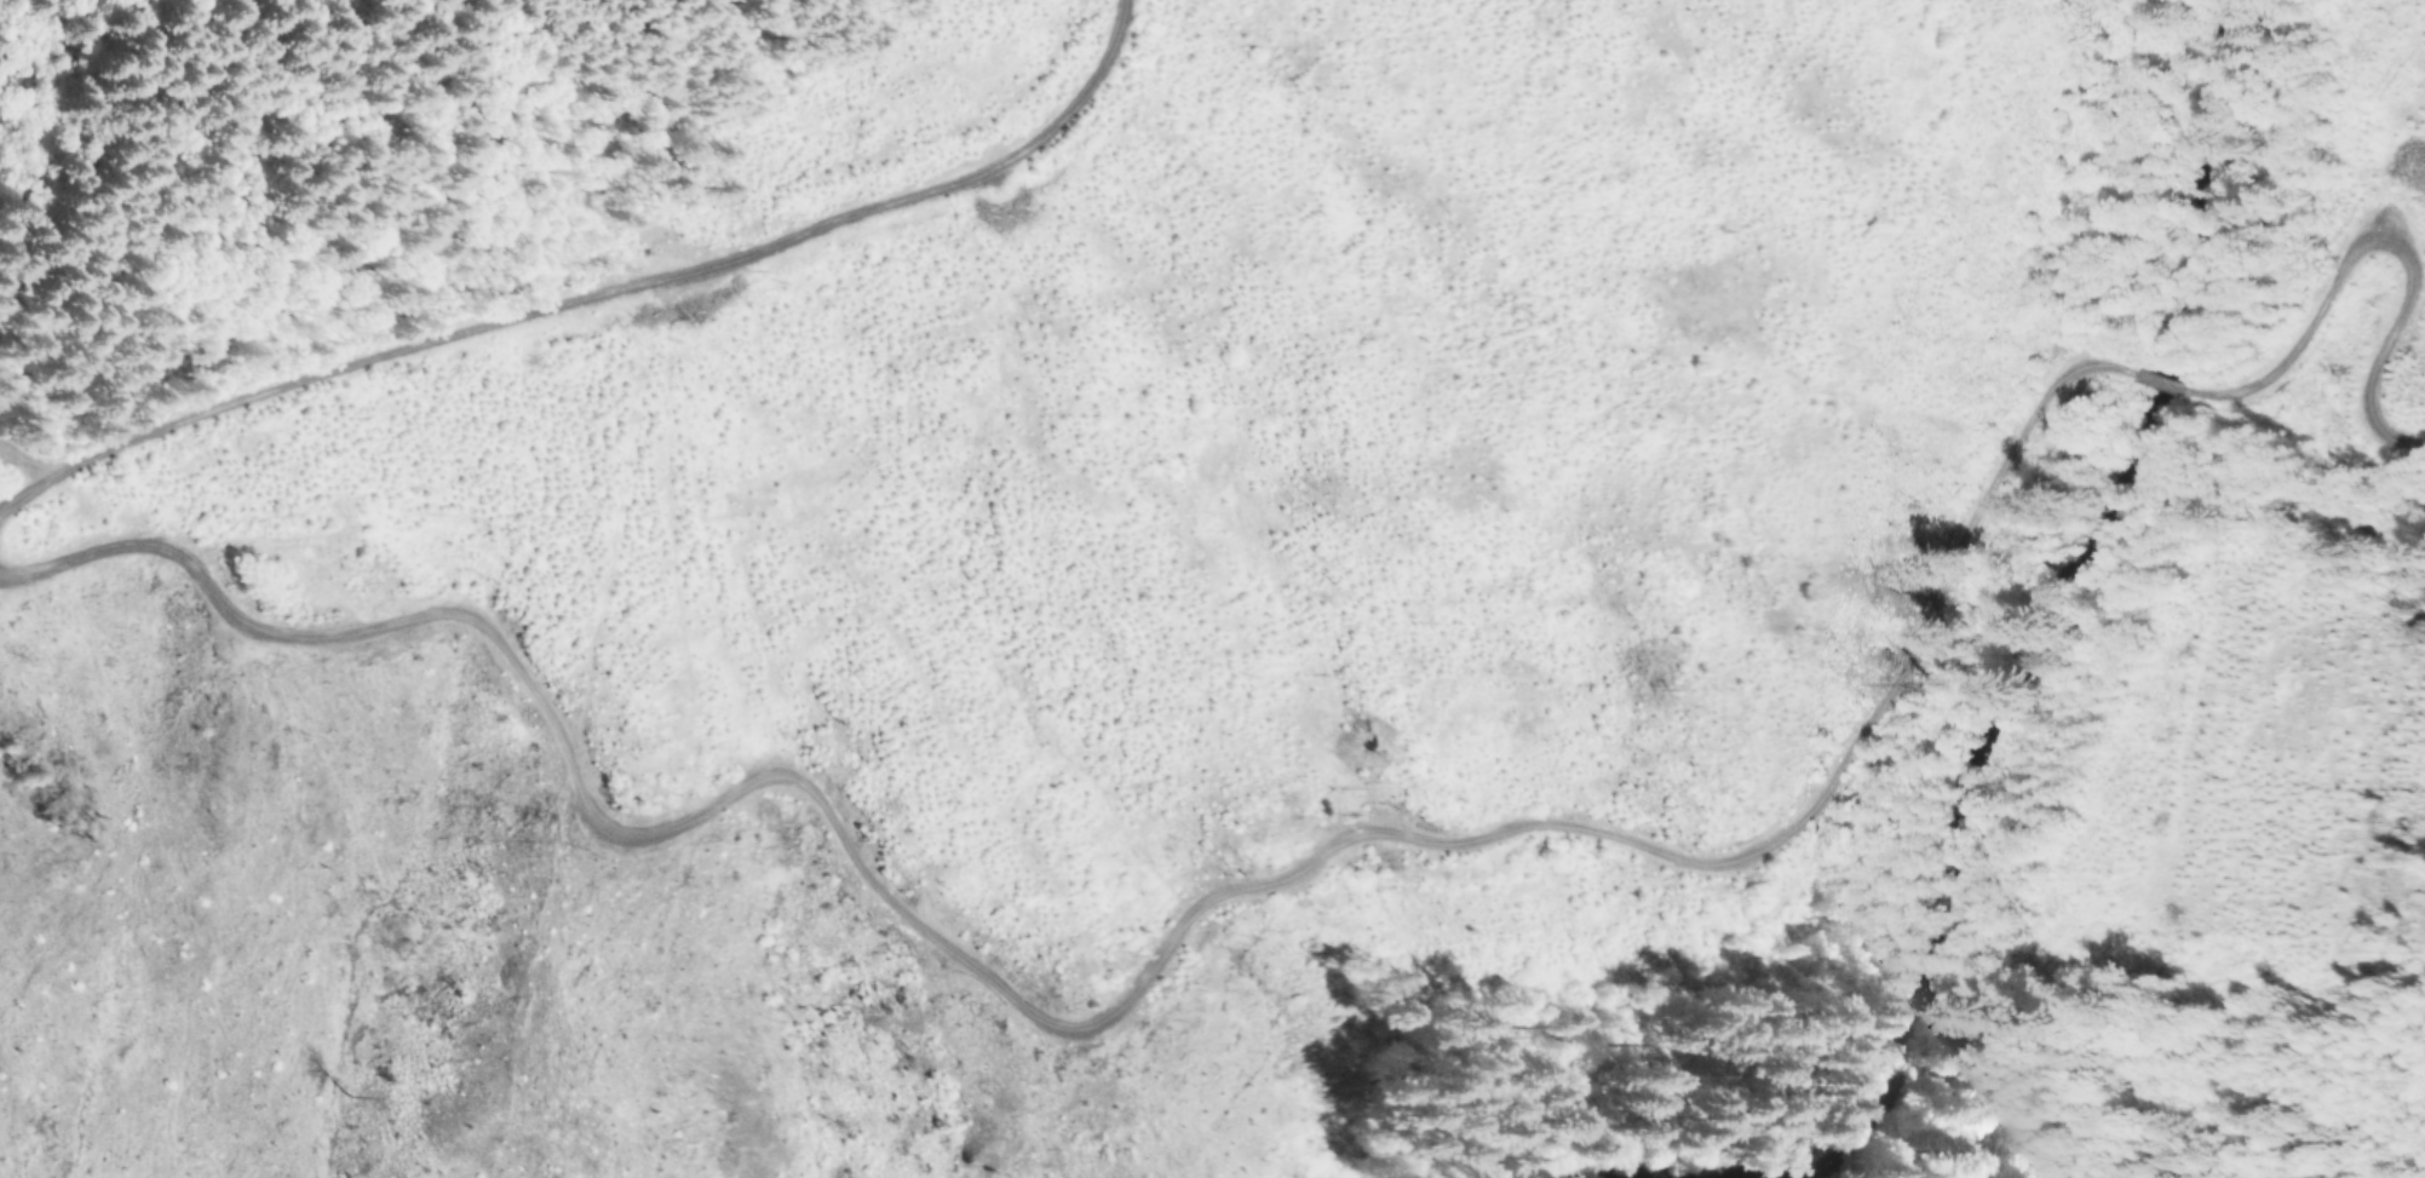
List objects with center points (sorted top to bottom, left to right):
road: (596, 295)
road: (1345, 838)

